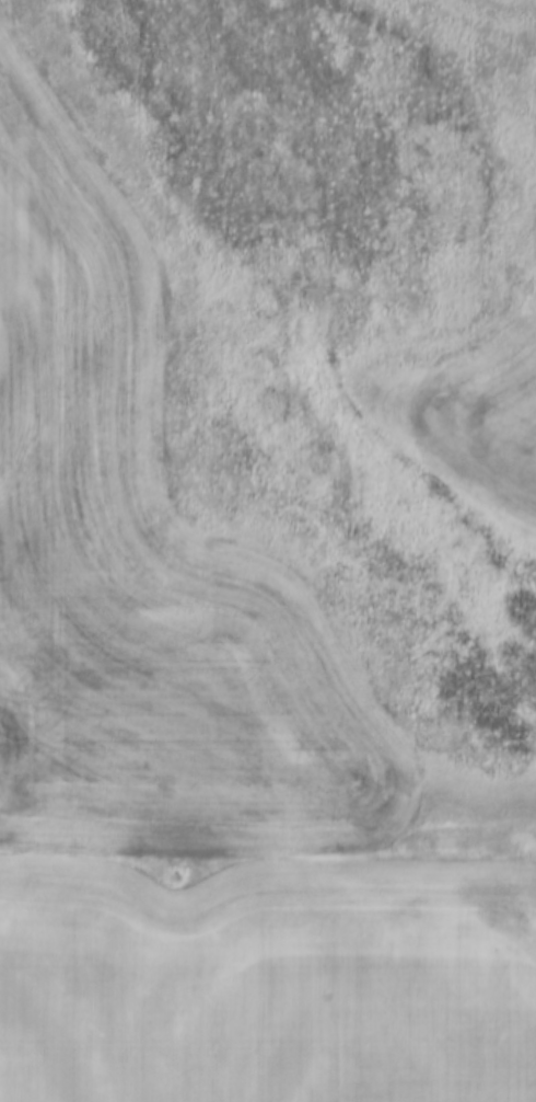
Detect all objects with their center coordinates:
road: (268, 852)

